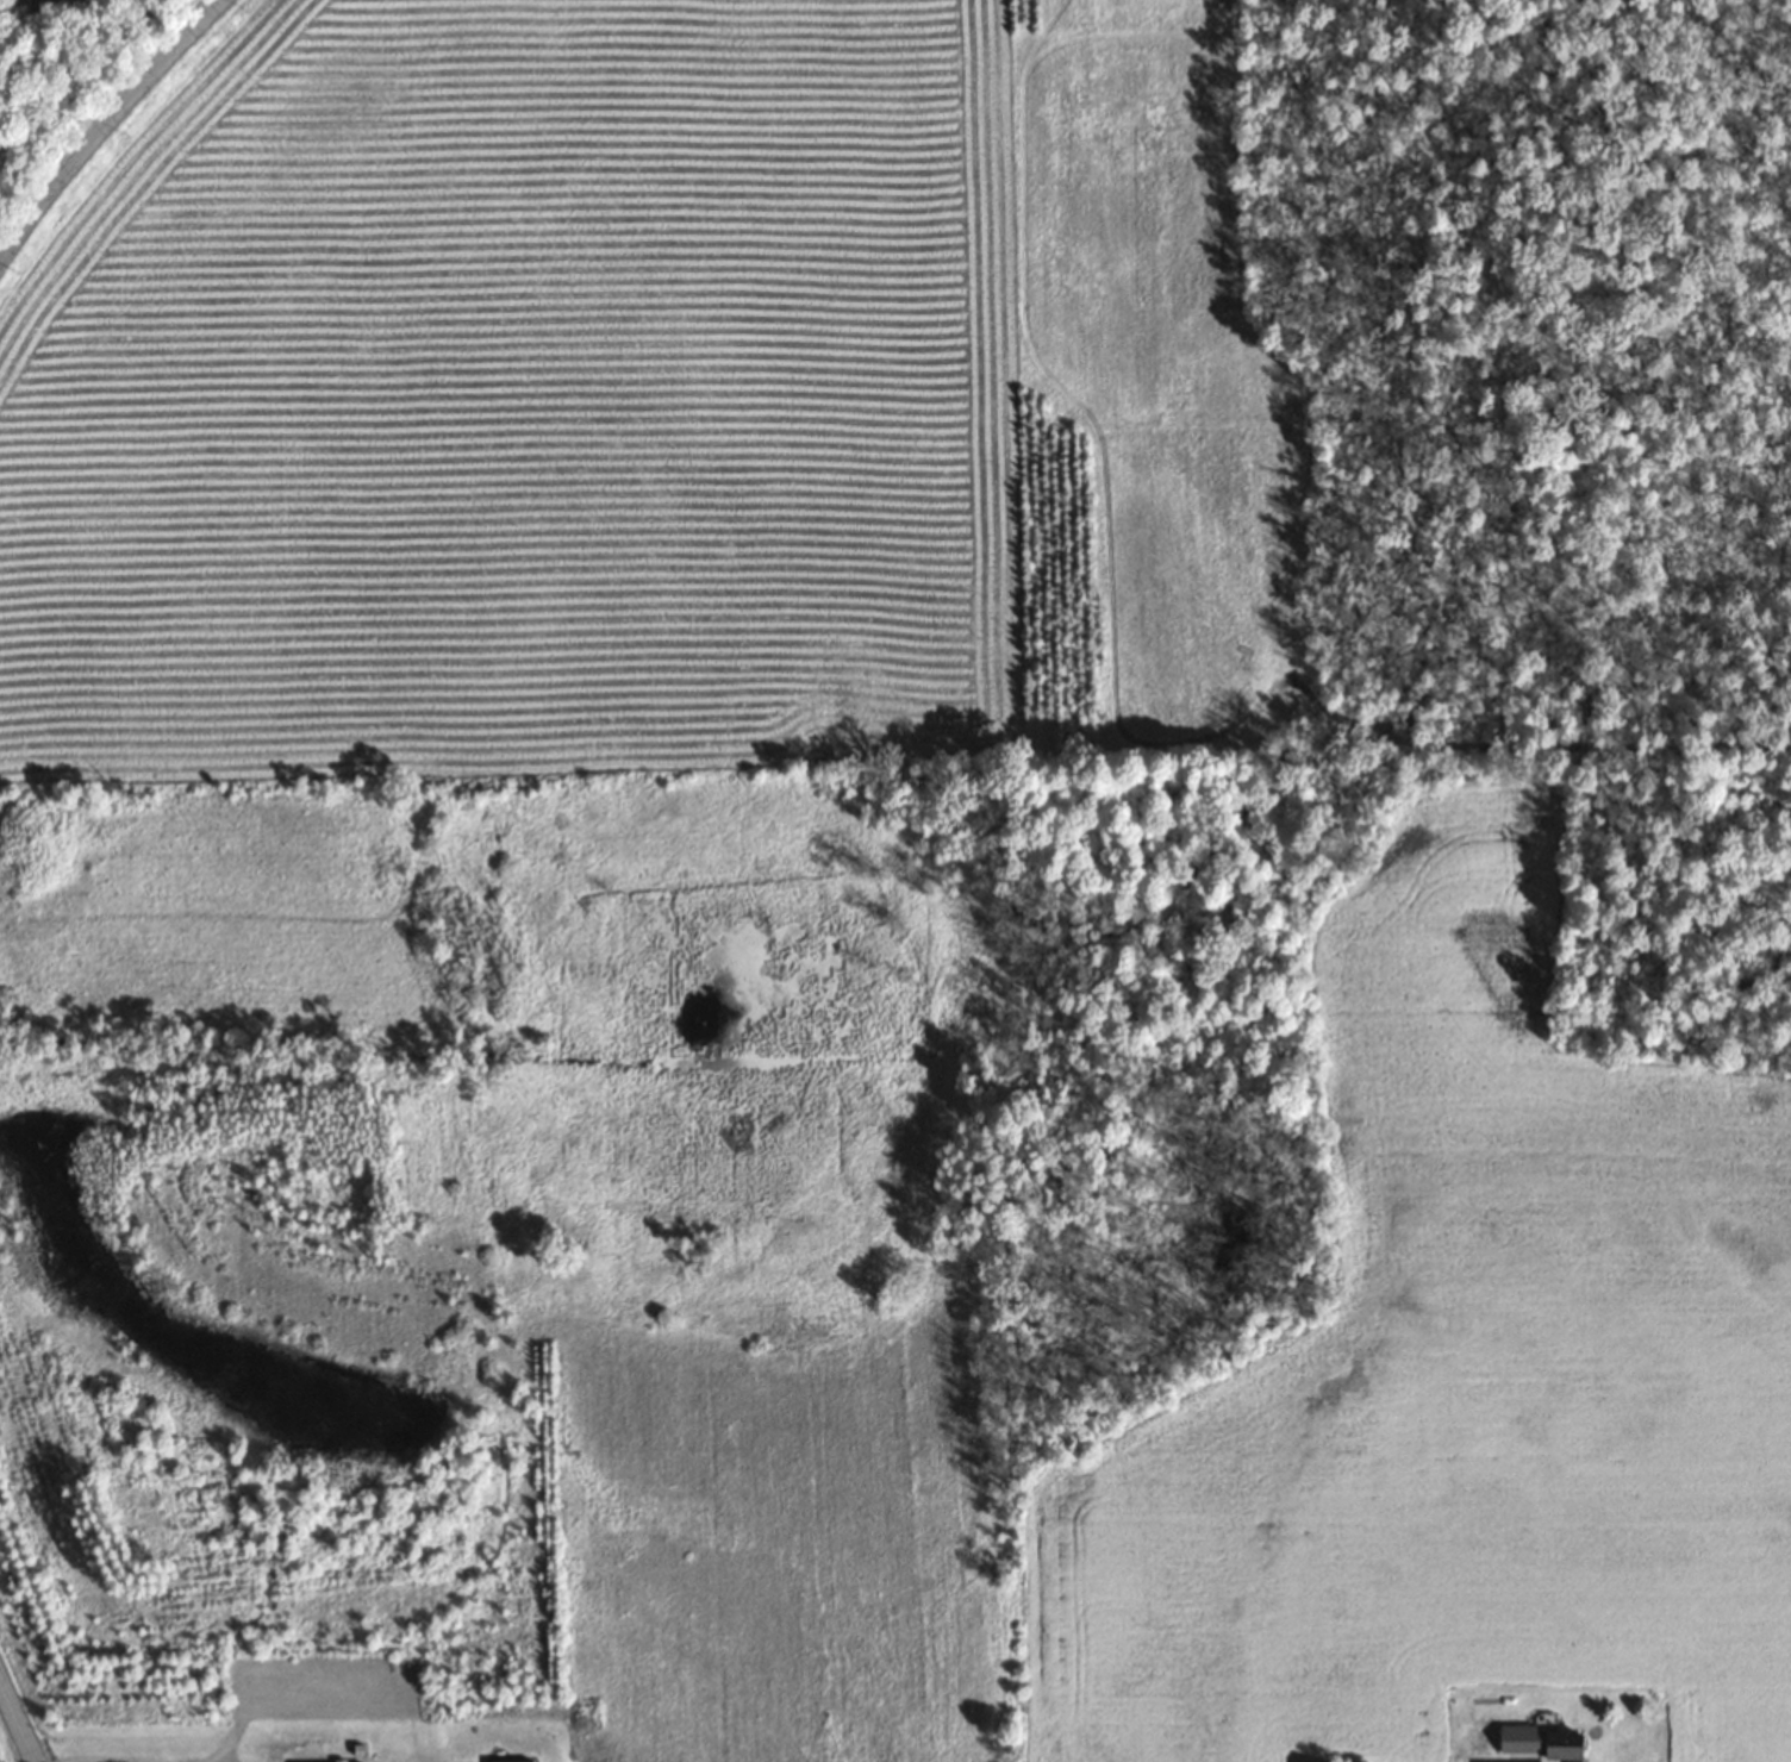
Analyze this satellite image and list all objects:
road: (105, 125)
road: (17, 1723)
building: (1540, 1742)
building: (507, 1760)

